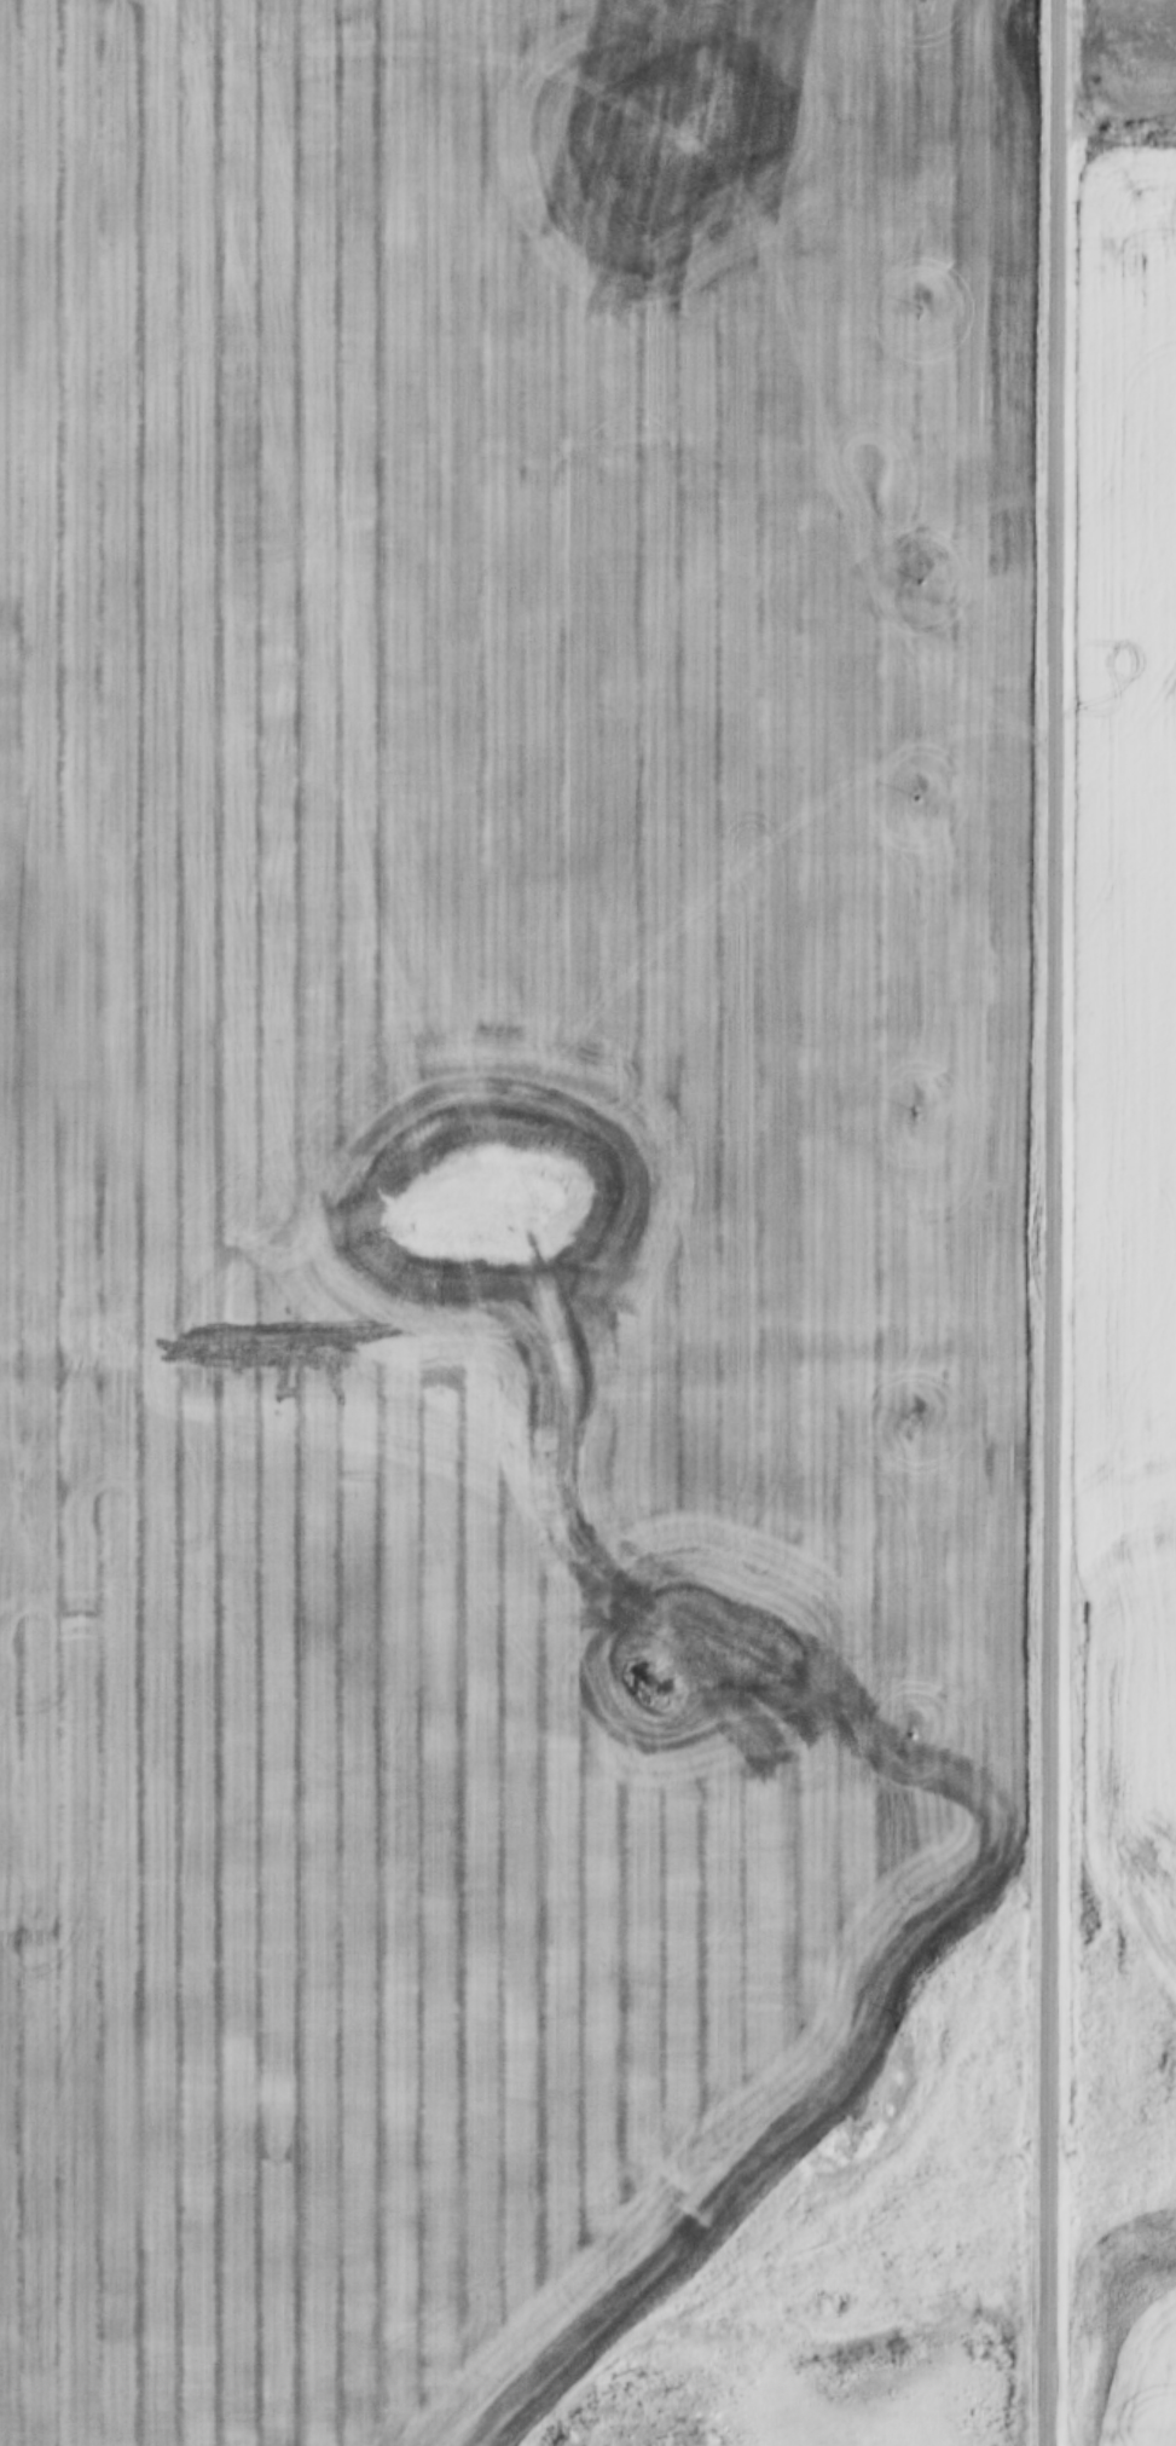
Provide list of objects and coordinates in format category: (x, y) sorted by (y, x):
road: (1052, 1222)

